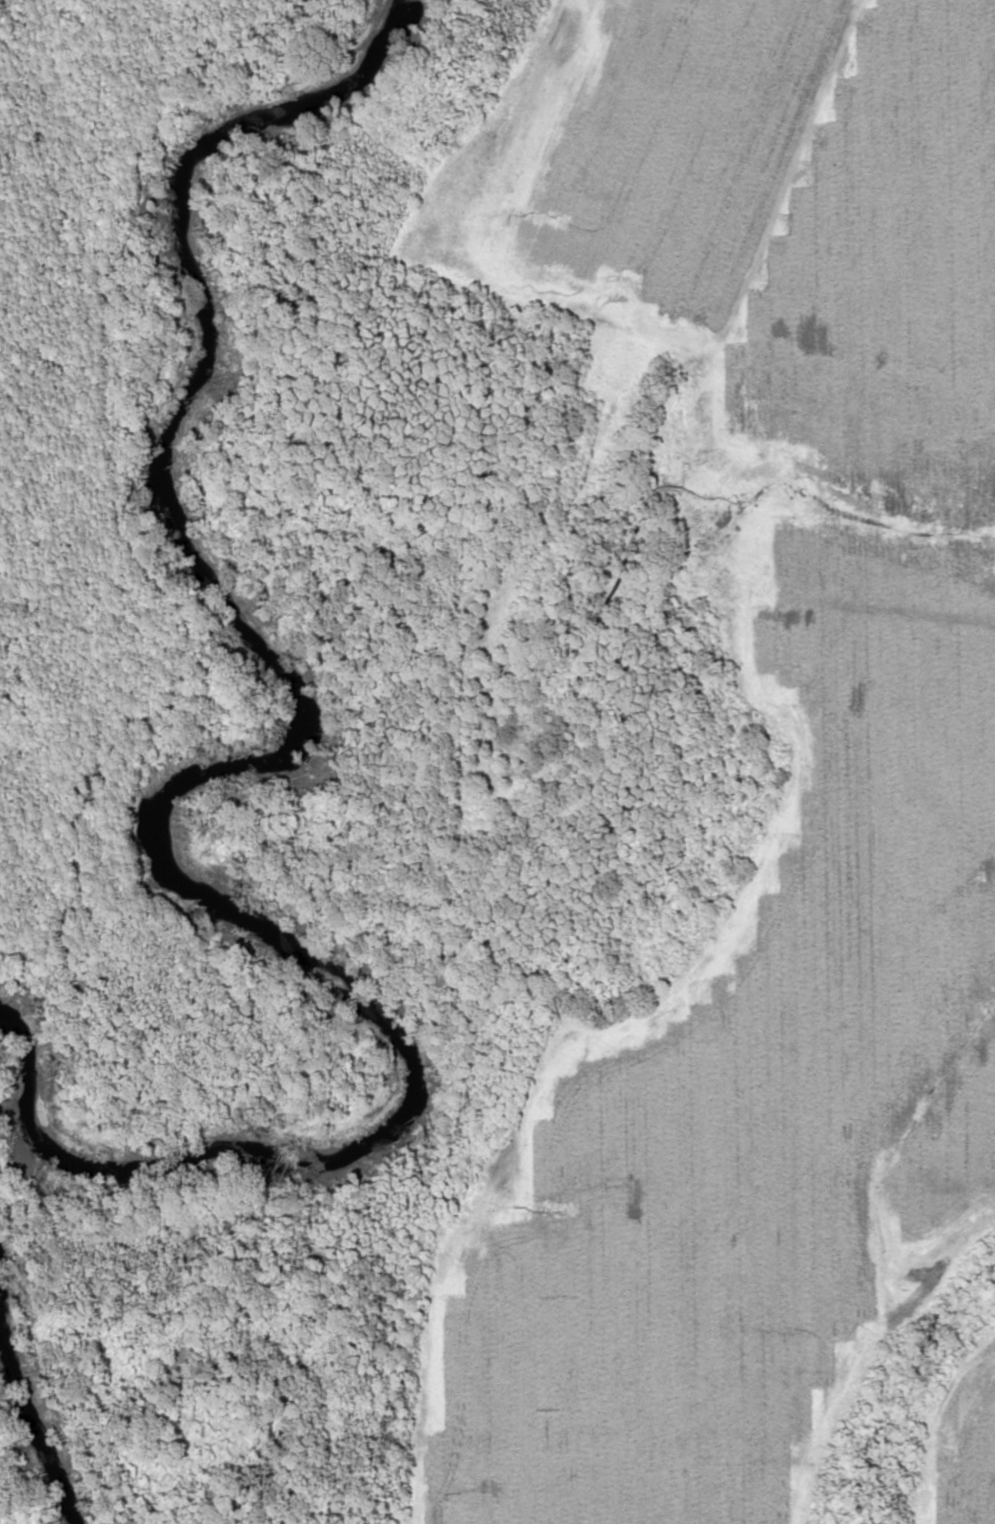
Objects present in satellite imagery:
river: (186, 766)
river: (34, 1440)

